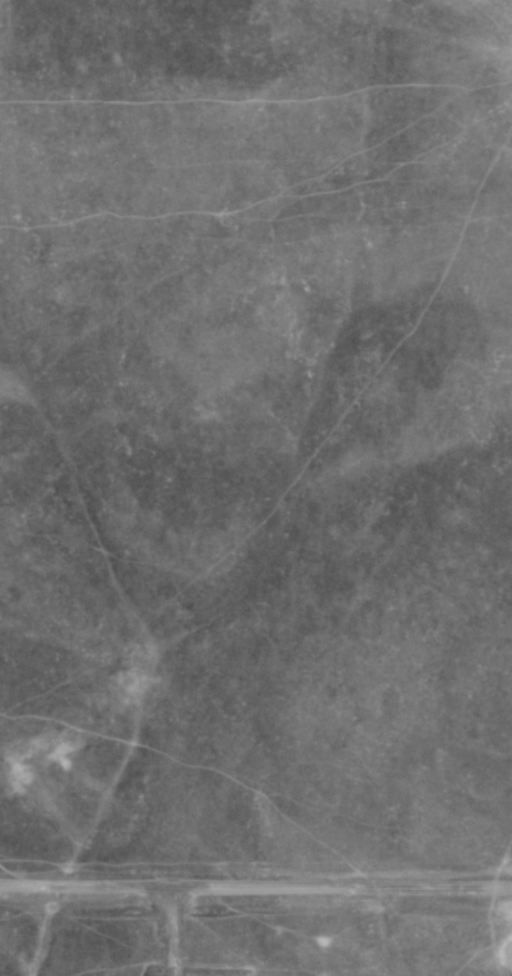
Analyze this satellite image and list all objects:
road: (255, 888)
road: (178, 928)

